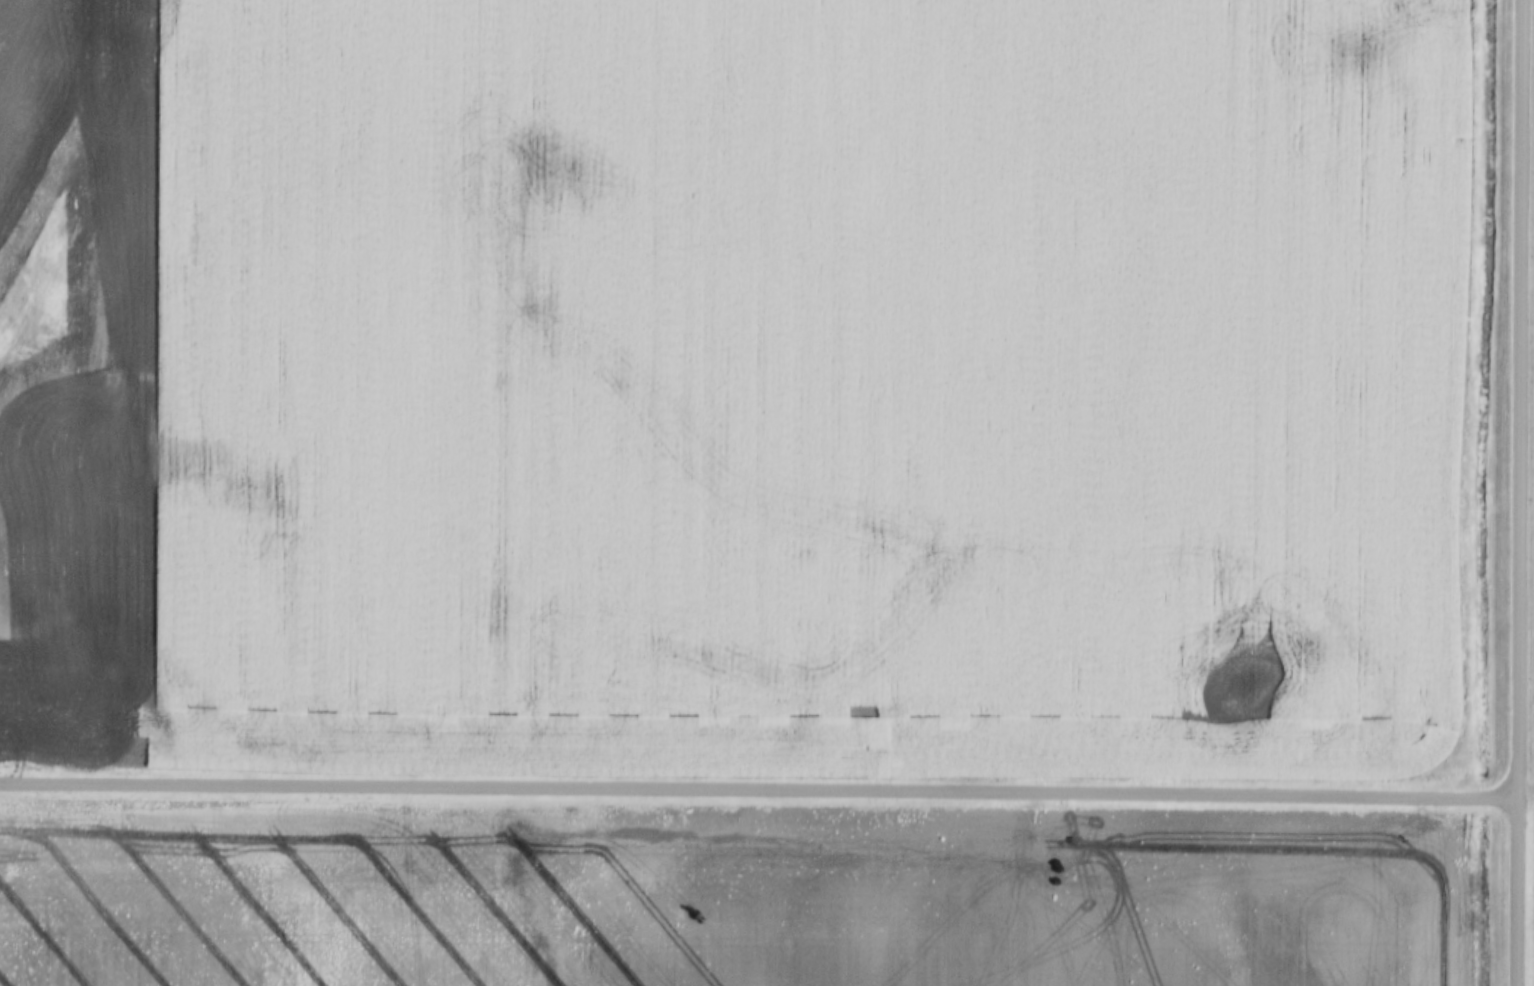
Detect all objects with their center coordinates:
road: (1520, 492)
road: (759, 789)

